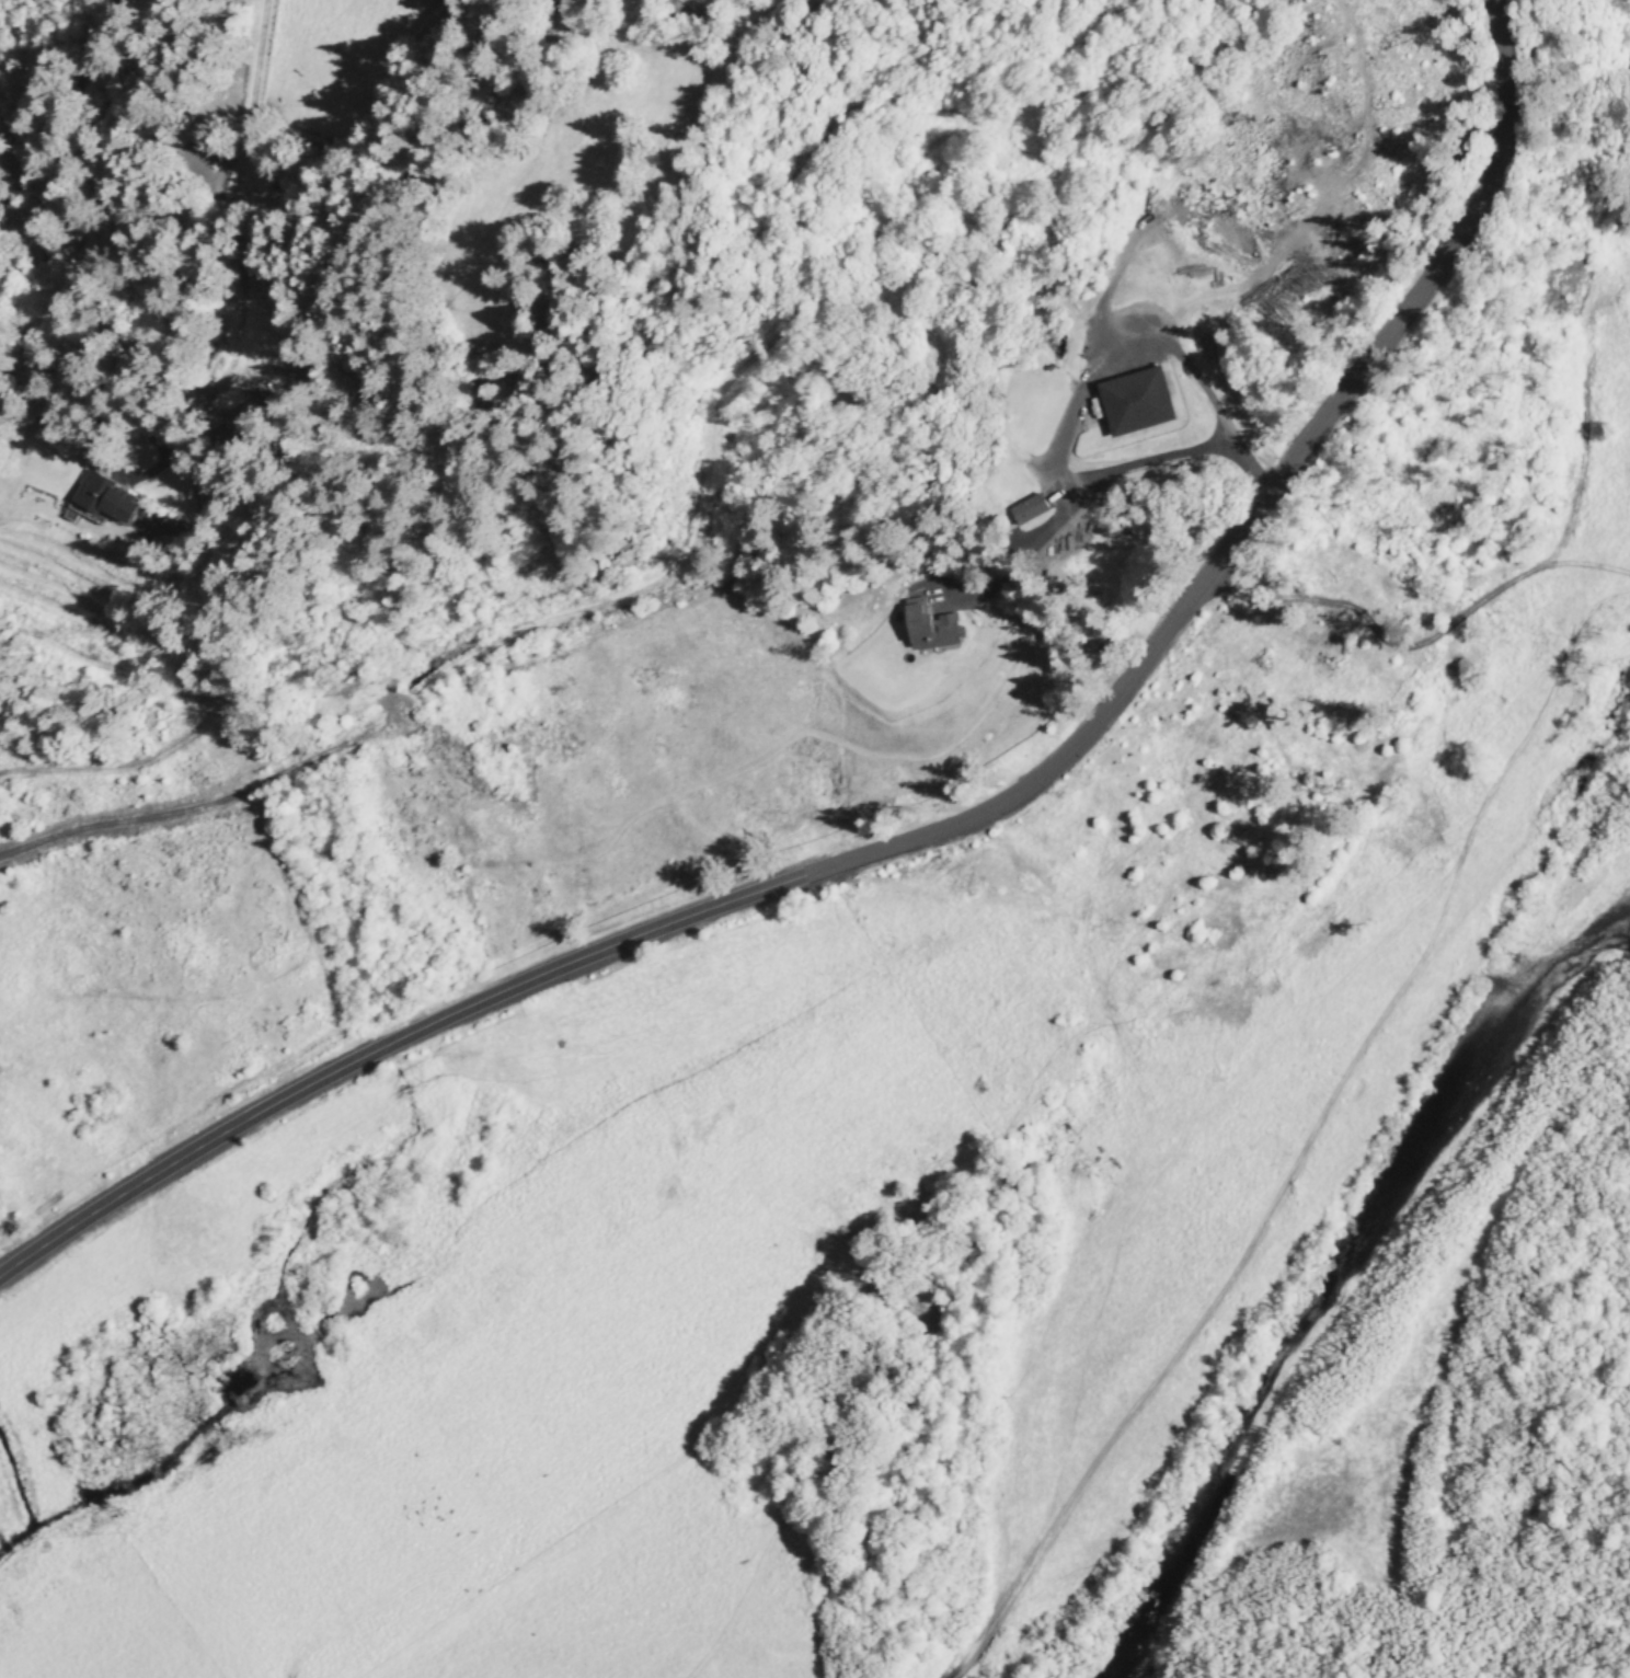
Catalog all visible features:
road: (15, 18)
road: (91, 136)
road: (72, 392)
building: (1137, 401)
building: (104, 497)
road: (944, 832)

